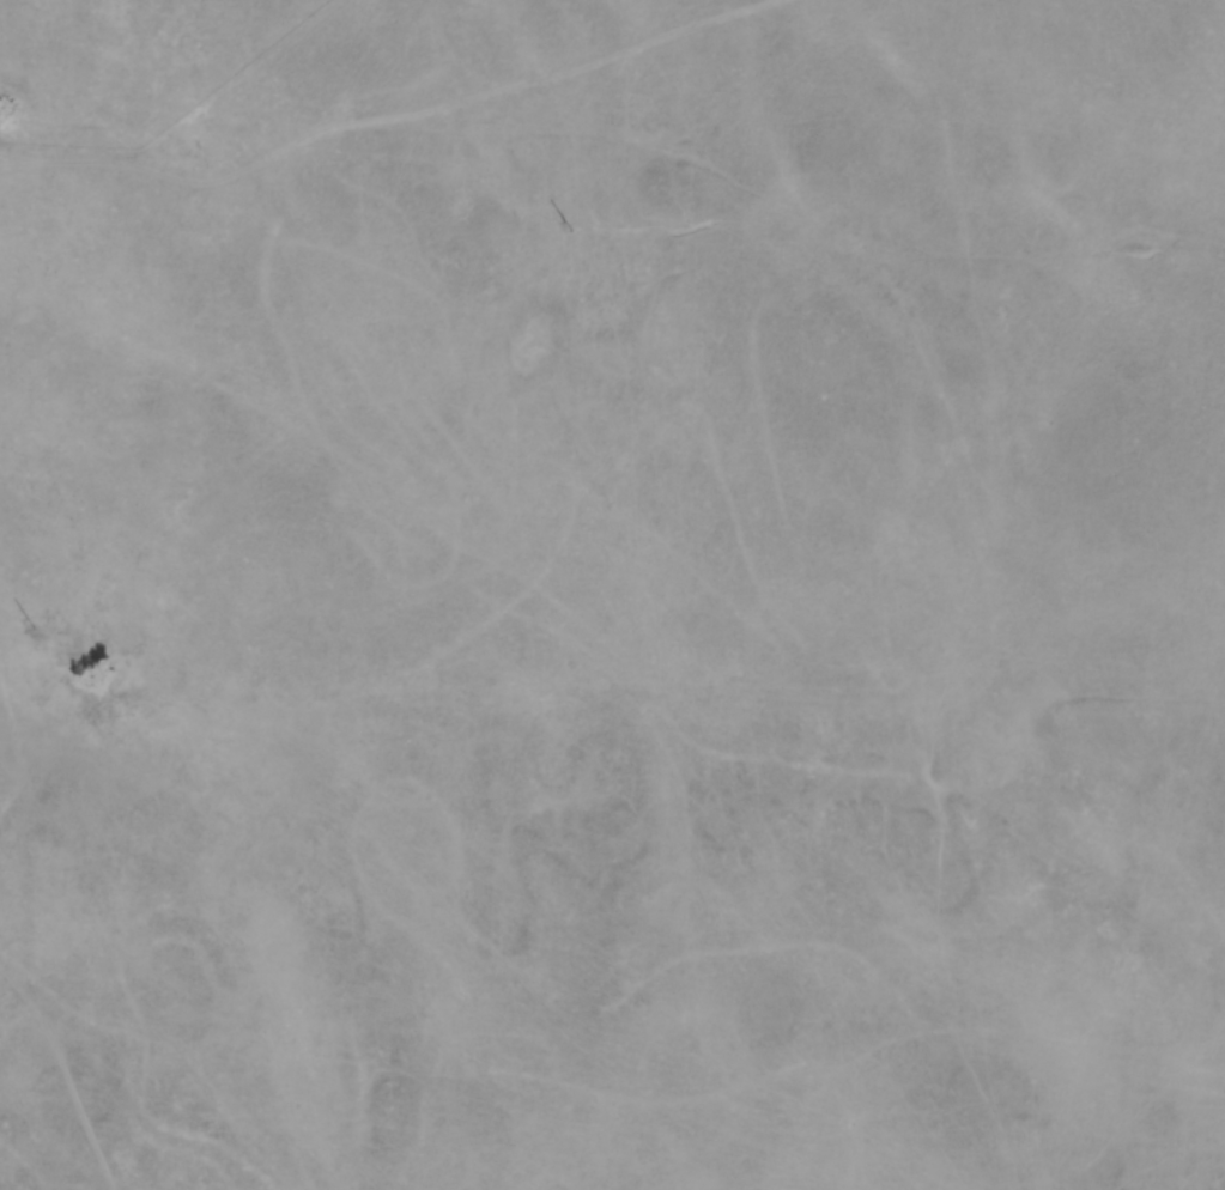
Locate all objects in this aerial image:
power tower: (570, 227)
power tower: (34, 625)

